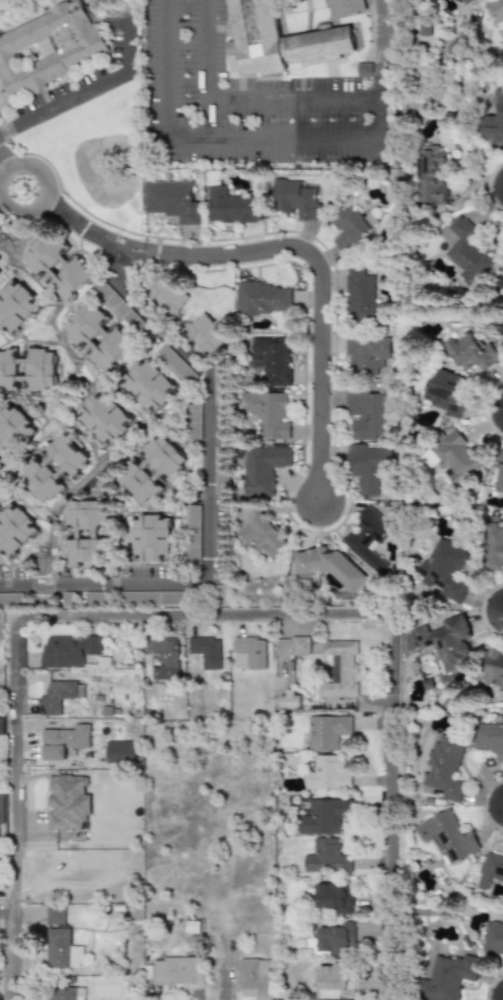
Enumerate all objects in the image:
building: (459, 2)
building: (347, 7)
building: (495, 12)
building: (280, 37)
building: (48, 46)
road: (382, 47)
building: (452, 49)
building: (364, 69)
road: (84, 87)
parking lot: (249, 101)
road: (204, 115)
building: (494, 120)
road: (363, 138)
road: (2, 161)
building: (428, 175)
road: (45, 188)
building: (294, 199)
building: (172, 201)
building: (231, 206)
building: (347, 228)
road: (89, 230)
building: (443, 236)
building: (466, 254)
building: (59, 264)
building: (501, 270)
road: (323, 291)
building: (169, 295)
building: (361, 297)
building: (262, 298)
building: (113, 301)
building: (15, 306)
building: (209, 333)
building: (98, 334)
building: (472, 352)
building: (366, 354)
building: (273, 359)
building: (28, 366)
building: (153, 383)
building: (447, 392)
building: (269, 412)
building: (368, 415)
building: (109, 419)
building: (194, 419)
building: (14, 431)
building: (453, 457)
building: (367, 466)
building: (53, 467)
building: (264, 468)
building: (154, 469)
road: (210, 474)
building: (499, 475)
building: (2, 489)
building: (14, 529)
building: (91, 532)
building: (194, 535)
building: (264, 535)
building: (155, 537)
building: (368, 538)
building: (493, 546)
building: (330, 566)
building: (445, 569)
road: (21, 584)
building: (11, 599)
road: (209, 619)
building: (448, 642)
building: (301, 646)
building: (70, 650)
building: (207, 651)
building: (251, 654)
building: (164, 658)
building: (342, 668)
building: (493, 669)
building: (59, 695)
building: (290, 700)
building: (1, 714)
building: (327, 732)
building: (489, 738)
building: (63, 741)
building: (445, 767)
building: (327, 774)
building: (68, 803)
road: (394, 809)
building: (1, 810)
road: (18, 810)
building: (325, 816)
building: (447, 836)
building: (327, 857)
building: (489, 870)
building: (335, 895)
building: (55, 915)
building: (336, 938)
building: (492, 938)
building: (61, 950)
building: (178, 971)
building: (255, 978)
building: (446, 978)
building: (334, 980)
building: (60, 993)

